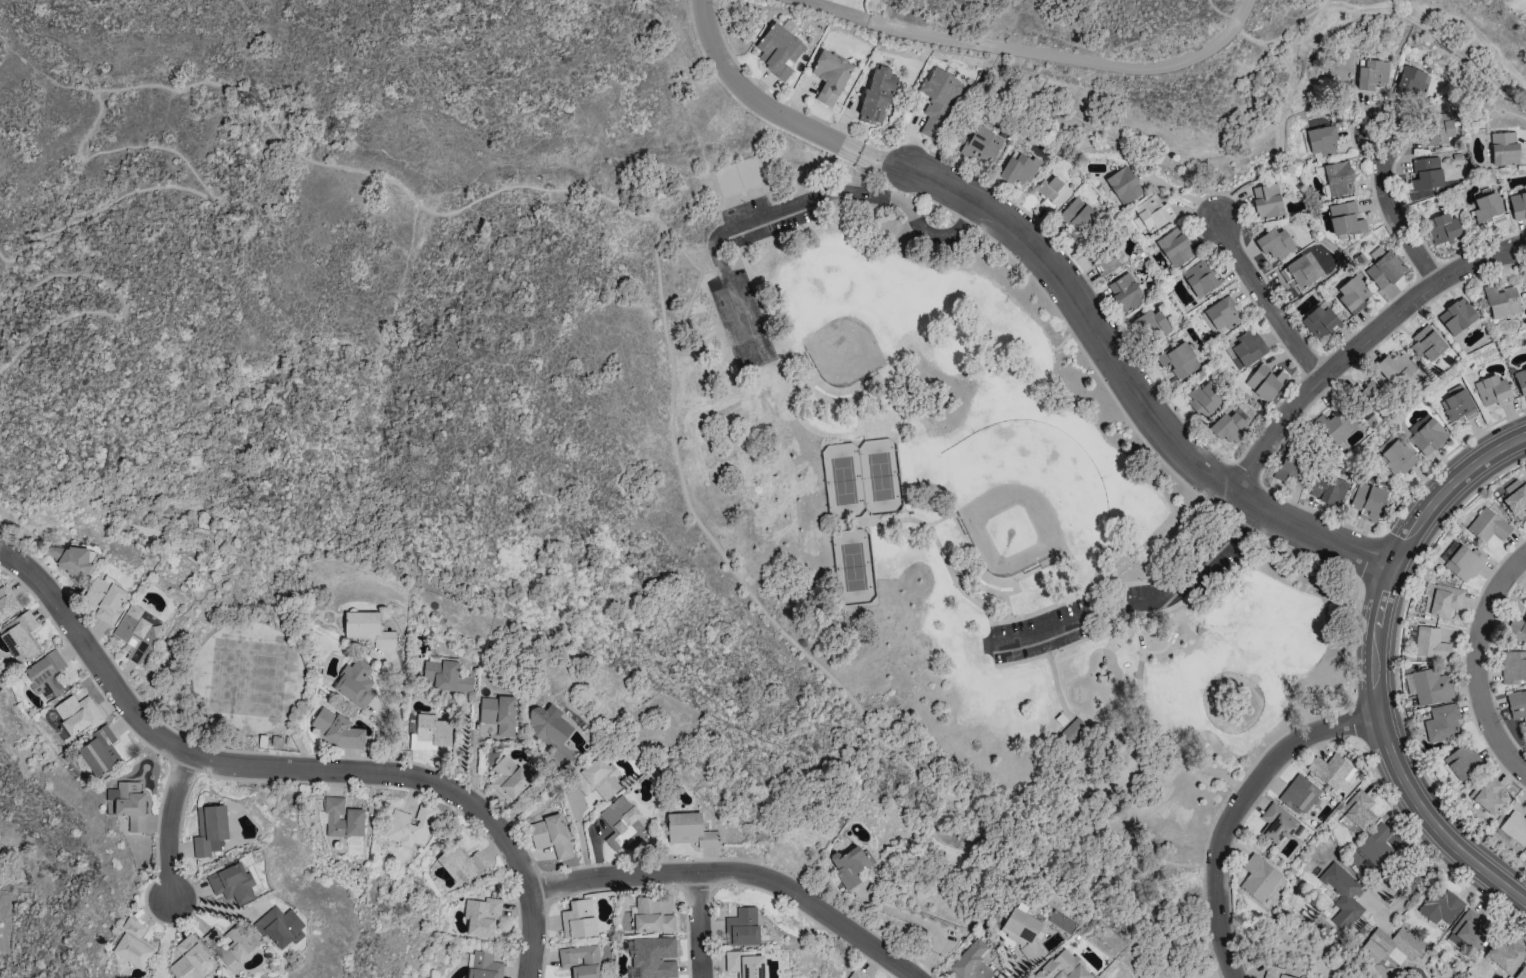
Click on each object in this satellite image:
building: (780, 50)
road: (1037, 53)
building: (1372, 74)
road: (40, 76)
building: (831, 76)
road: (1287, 77)
building: (1412, 81)
road: (172, 92)
building: (878, 95)
road: (757, 99)
building: (939, 101)
building: (1438, 129)
building: (1322, 142)
building: (982, 144)
building: (1505, 148)
building: (1020, 168)
building: (1427, 173)
building: (1338, 178)
building: (1124, 185)
building: (1053, 191)
road: (806, 200)
building: (1267, 201)
building: (1518, 205)
building: (1487, 207)
road: (1392, 210)
building: (1151, 214)
building: (1079, 215)
building: (1346, 218)
parking lot: (756, 220)
building: (1443, 228)
building: (1276, 242)
building: (1175, 247)
building: (1108, 260)
road: (657, 264)
building: (1384, 270)
building: (1299, 272)
building: (1202, 277)
building: (1525, 284)
building: (1126, 292)
building: (1354, 294)
road: (1264, 298)
building: (1501, 301)
road: (125, 311)
building: (1223, 315)
building: (1457, 316)
building: (1319, 321)
building: (1153, 326)
road: (1358, 342)
building: (1426, 343)
building: (1246, 349)
building: (1181, 361)
road: (1118, 367)
building: (1395, 368)
building: (1521, 380)
building: (1266, 382)
building: (1492, 390)
building: (1204, 398)
building: (1368, 398)
building: (1458, 406)
building: (1230, 426)
building: (1337, 426)
building: (1428, 437)
building: (1398, 458)
building: (1290, 469)
building: (1327, 489)
building: (1515, 497)
building: (1367, 501)
building: (1488, 525)
park: (908, 532)
road: (3, 541)
building: (71, 561)
building: (1464, 563)
building: (105, 599)
building: (1445, 600)
building: (7, 602)
road: (759, 602)
road: (1137, 603)
building: (367, 629)
building: (1517, 629)
building: (137, 632)
parking lot: (1036, 635)
building: (20, 636)
building: (1430, 643)
road: (1476, 662)
road: (1372, 666)
building: (1513, 667)
building: (46, 674)
building: (445, 676)
building: (355, 683)
building: (1431, 686)
building: (1517, 704)
road: (398, 710)
building: (498, 713)
building: (78, 714)
building: (569, 717)
building: (1442, 723)
building: (337, 729)
building: (1074, 729)
building: (430, 733)
building: (551, 735)
building: (100, 751)
building: (1461, 761)
road: (294, 770)
building: (1330, 770)
building: (508, 778)
building: (598, 778)
building: (1299, 794)
building: (1489, 795)
building: (129, 804)
road: (1236, 809)
building: (1358, 810)
building: (1277, 823)
building: (622, 824)
road: (168, 825)
building: (410, 826)
road: (1080, 827)
building: (1514, 827)
building: (210, 830)
building: (689, 830)
road: (579, 832)
building: (551, 835)
building: (1376, 845)
building: (1525, 852)
building: (462, 864)
building: (849, 865)
road: (740, 869)
building: (1257, 877)
building: (232, 882)
building: (1342, 895)
building: (1440, 905)
road: (1376, 907)
building: (482, 916)
building: (651, 916)
building: (577, 918)
road: (932, 923)
road: (701, 924)
building: (279, 927)
building: (742, 927)
building: (1466, 930)
building: (1022, 933)
building: (238, 942)
building: (132, 943)
building: (1391, 944)
building: (1506, 955)
building: (654, 957)
building: (190, 959)
building: (580, 961)
building: (970, 962)
building: (744, 964)
building: (484, 965)
building: (1063, 967)
building: (1274, 972)
building: (1521, 972)
building: (857, 974)

